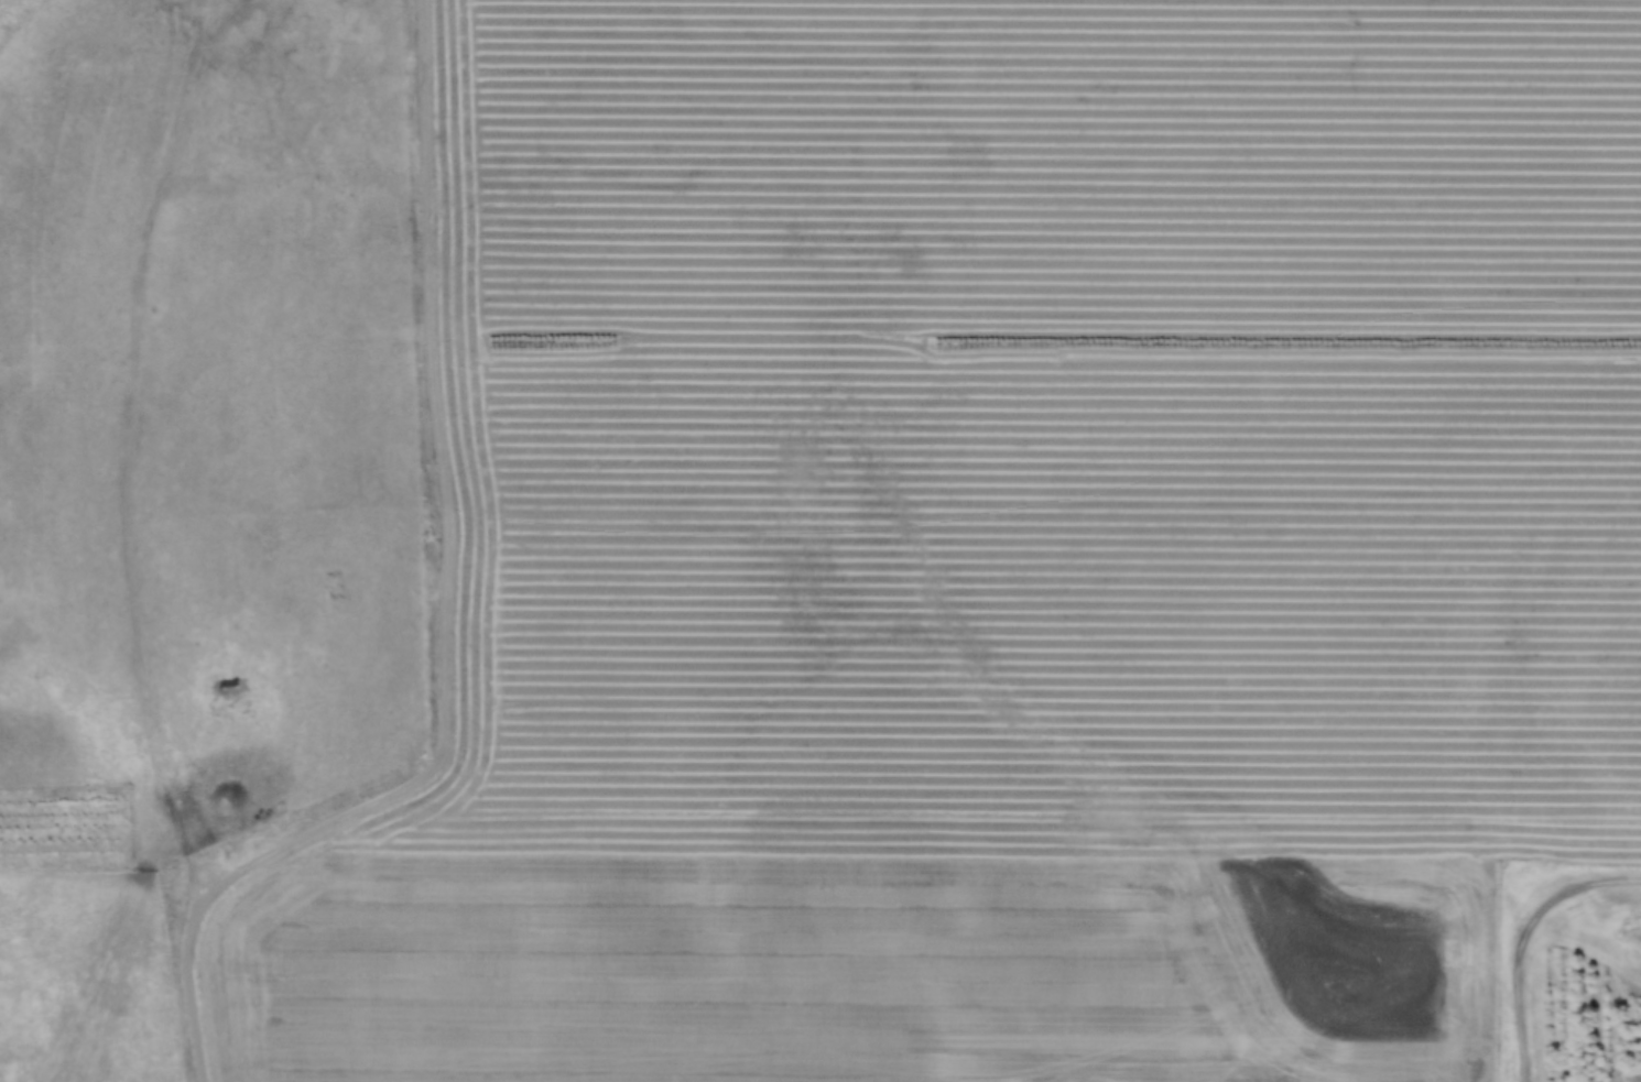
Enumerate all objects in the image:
road: (445, 610)
road: (1540, 982)

